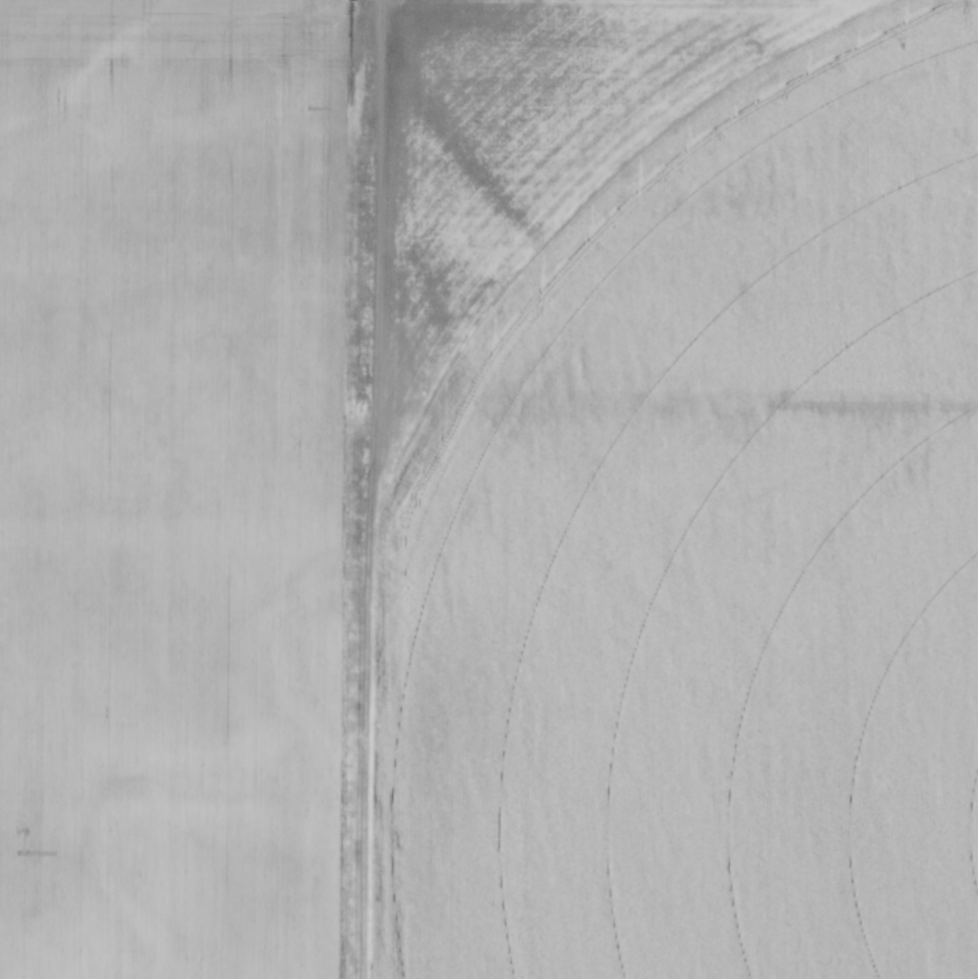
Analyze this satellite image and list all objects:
crop: (172, 487)

